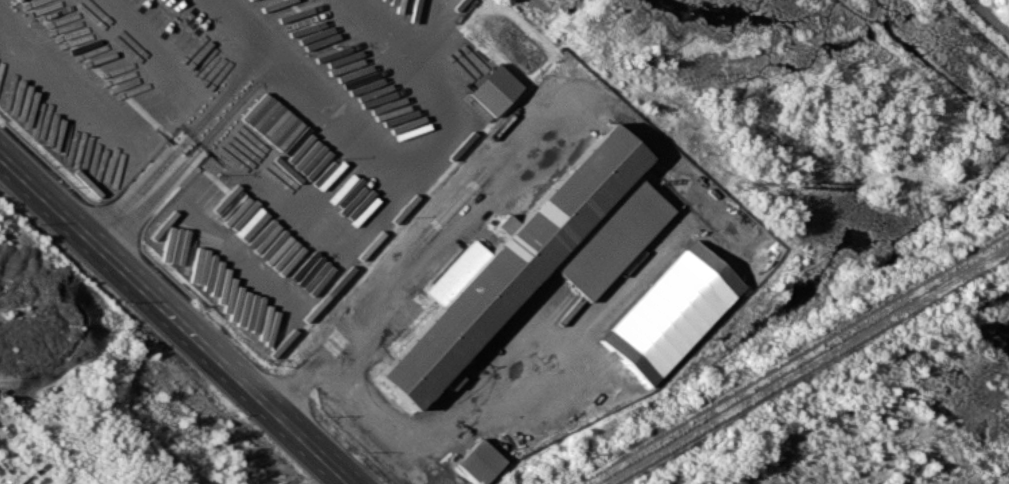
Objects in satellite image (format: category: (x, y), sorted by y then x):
landfill: (1001, 7)
road: (238, 33)
road: (257, 72)
building: (474, 105)
building: (262, 115)
road: (135, 205)
road: (427, 252)
building: (534, 257)
building: (671, 312)
road: (176, 319)
building: (451, 379)
building: (479, 461)

